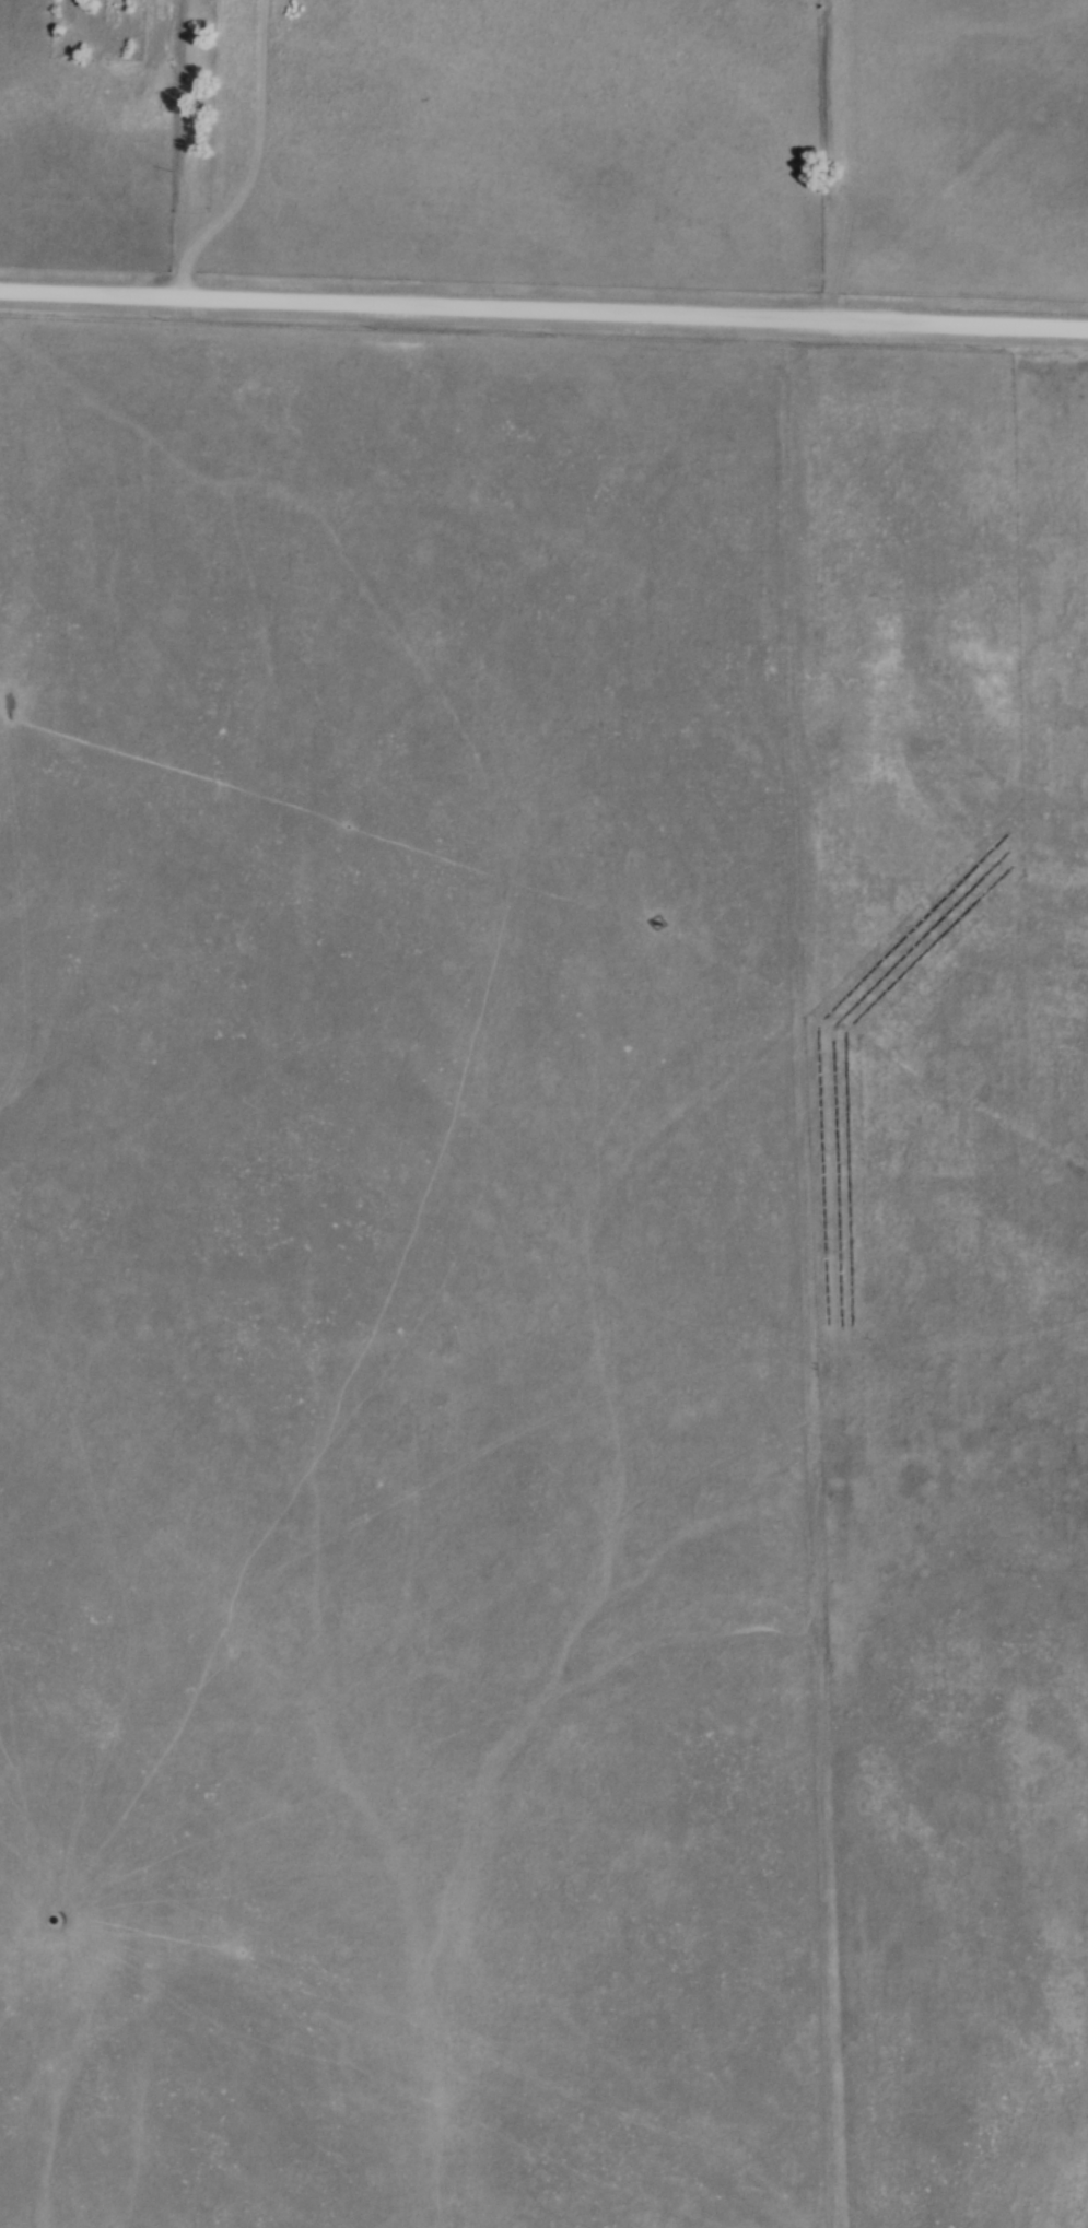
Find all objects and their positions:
road: (543, 307)

